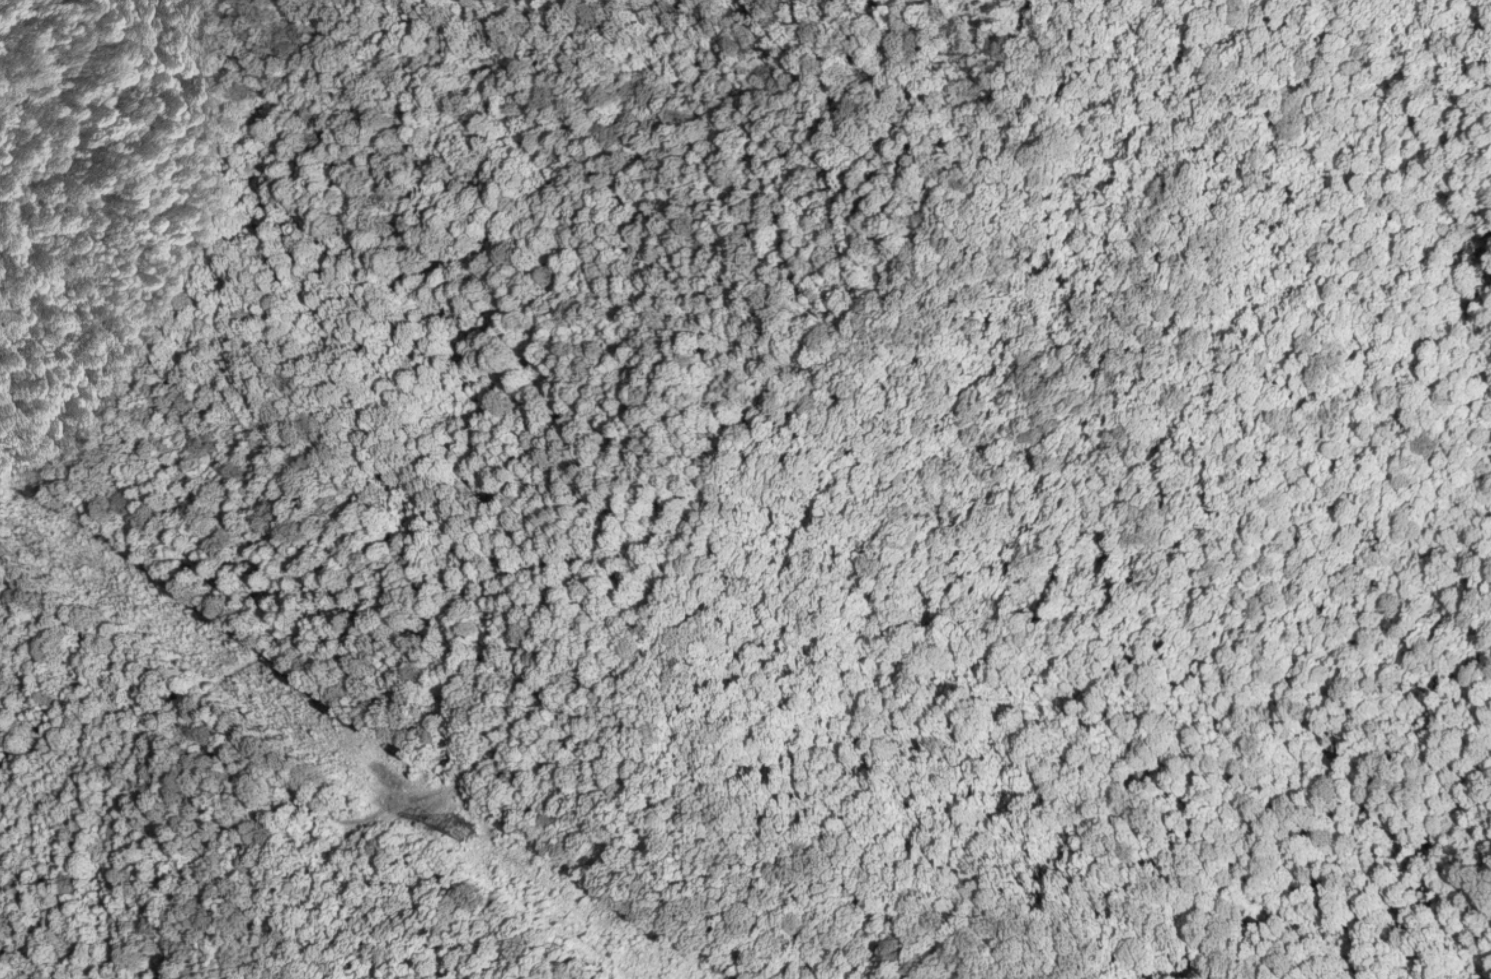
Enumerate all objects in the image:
power tower: (451, 822)

